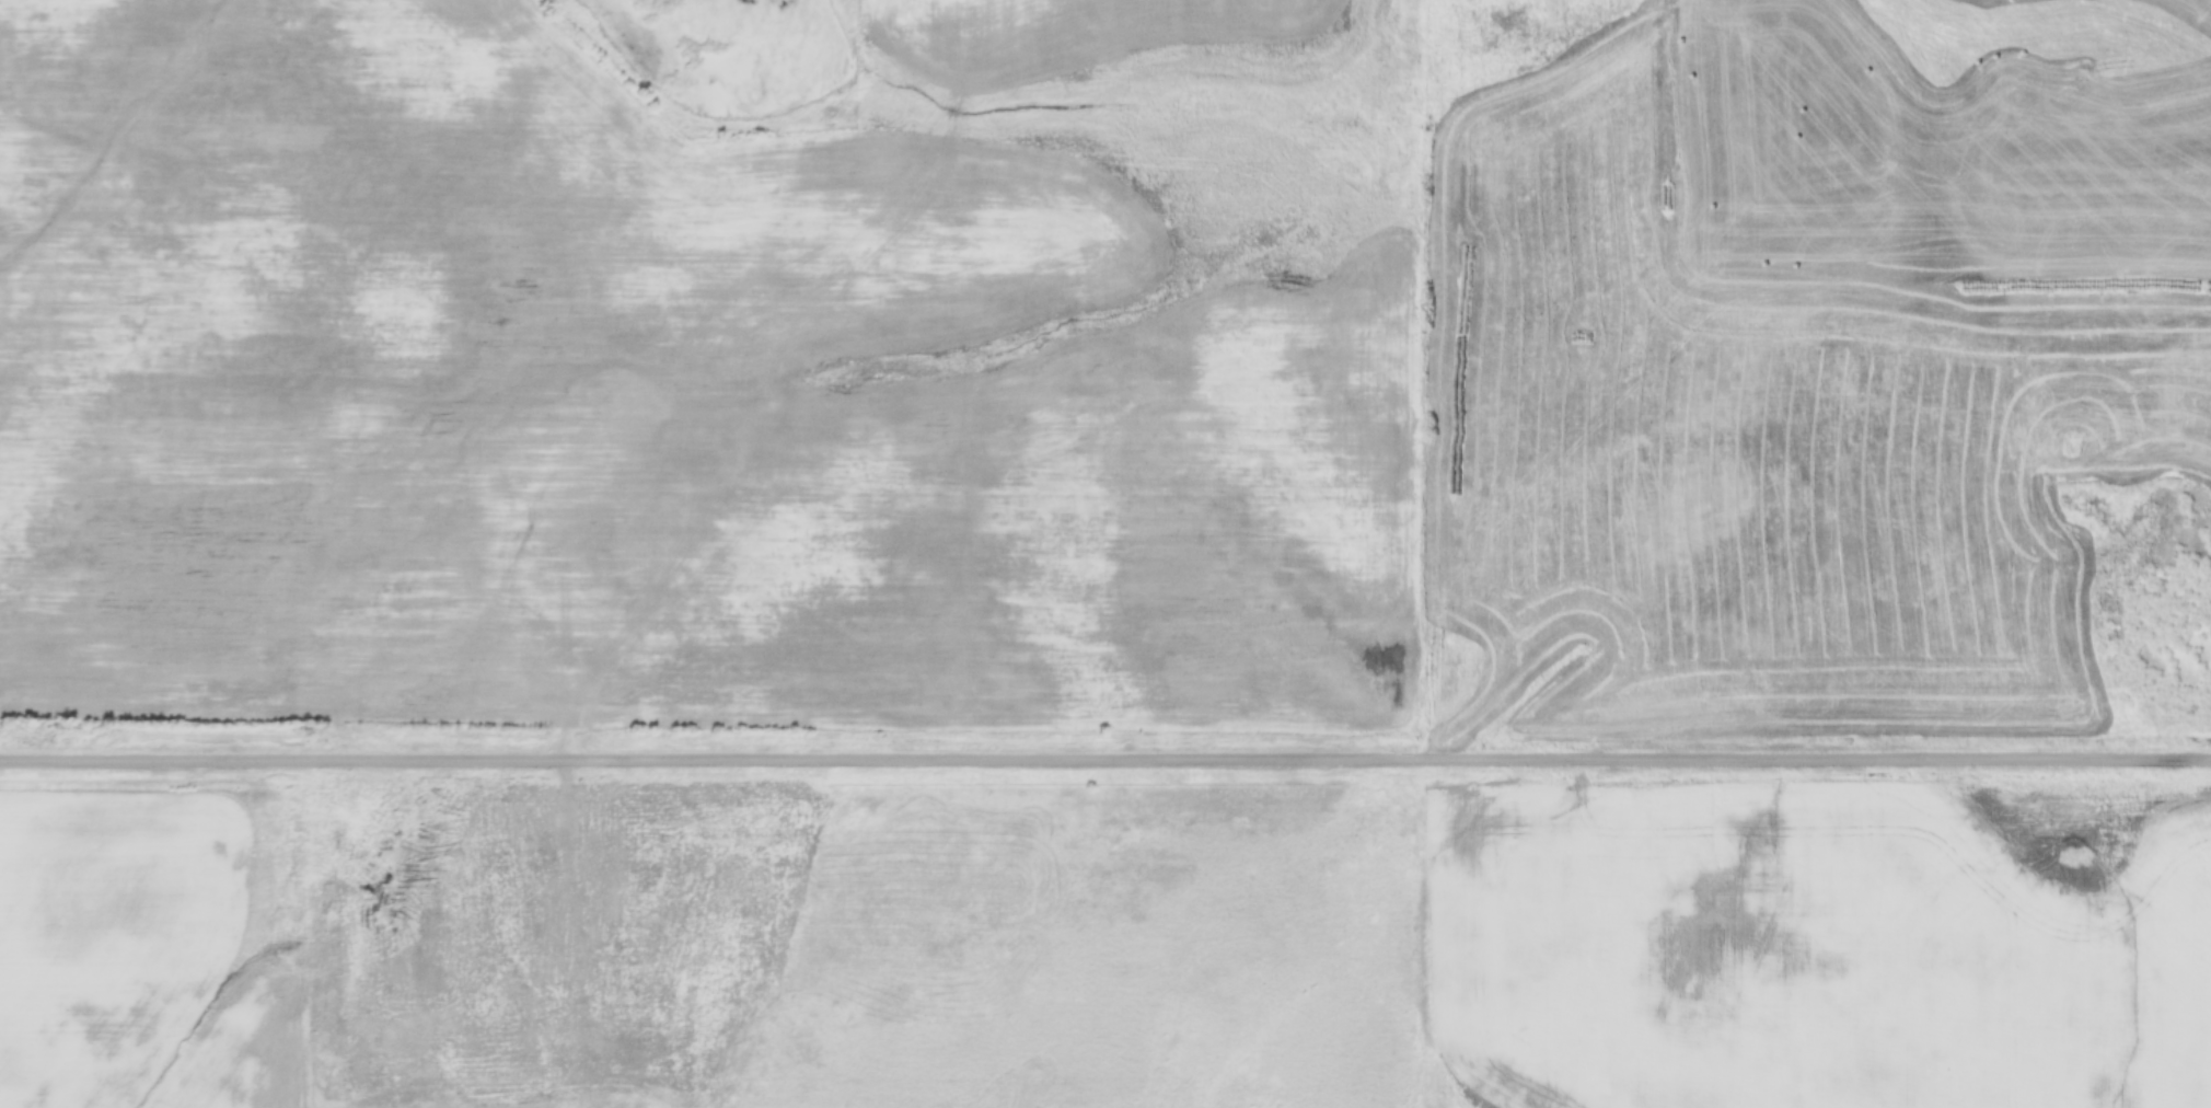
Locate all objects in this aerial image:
road: (1105, 762)

